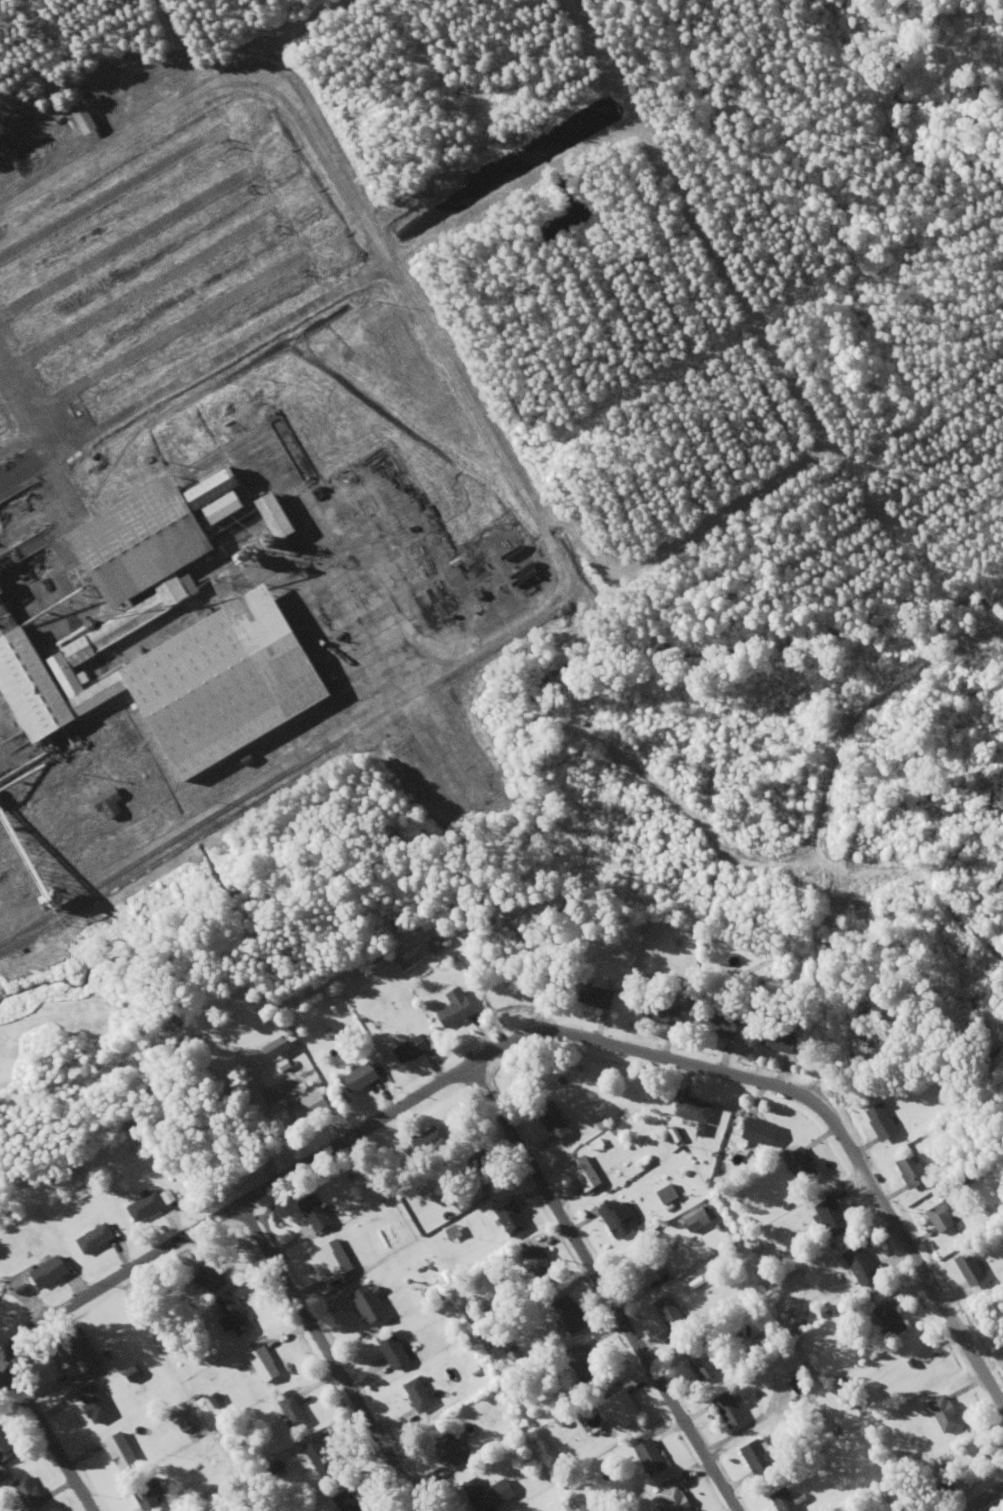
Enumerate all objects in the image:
building: (87, 121)
road: (506, 470)
building: (158, 538)
building: (169, 676)
railway: (275, 777)
building: (109, 803)
railway: (242, 813)
road: (3, 915)
building: (434, 945)
building: (597, 997)
building: (456, 1008)
building: (664, 1014)
building: (723, 1026)
road: (537, 1031)
building: (781, 1042)
building: (412, 1049)
building: (359, 1077)
building: (309, 1108)
building: (695, 1110)
building: (554, 1121)
building: (885, 1123)
building: (763, 1133)
building: (436, 1134)
building: (803, 1166)
building: (483, 1169)
building: (916, 1171)
building: (585, 1173)
building: (668, 1195)
building: (146, 1207)
building: (314, 1213)
building: (946, 1216)
building: (834, 1217)
building: (511, 1218)
building: (615, 1219)
building: (697, 1220)
building: (452, 1234)
building: (95, 1239)
building: (337, 1259)
building: (539, 1264)
building: (862, 1266)
building: (642, 1268)
building: (973, 1270)
building: (49, 1273)
building: (210, 1275)
road: (600, 1287)
building: (366, 1305)
building: (234, 1315)
building: (570, 1315)
building: (672, 1316)
building: (892, 1320)
building: (392, 1351)
building: (74, 1355)
road: (332, 1357)
building: (702, 1363)
building: (583, 1364)
building: (264, 1365)
building: (417, 1395)
building: (94, 1403)
building: (619, 1410)
building: (729, 1410)
building: (293, 1412)
building: (946, 1414)
road: (46, 1439)
building: (5, 1448)
building: (449, 1449)
building: (121, 1452)
building: (757, 1458)
building: (320, 1460)
building: (651, 1460)
building: (28, 1493)
building: (148, 1493)
building: (487, 1495)
road: (983, 1499)
building: (671, 1501)
building: (783, 1501)

